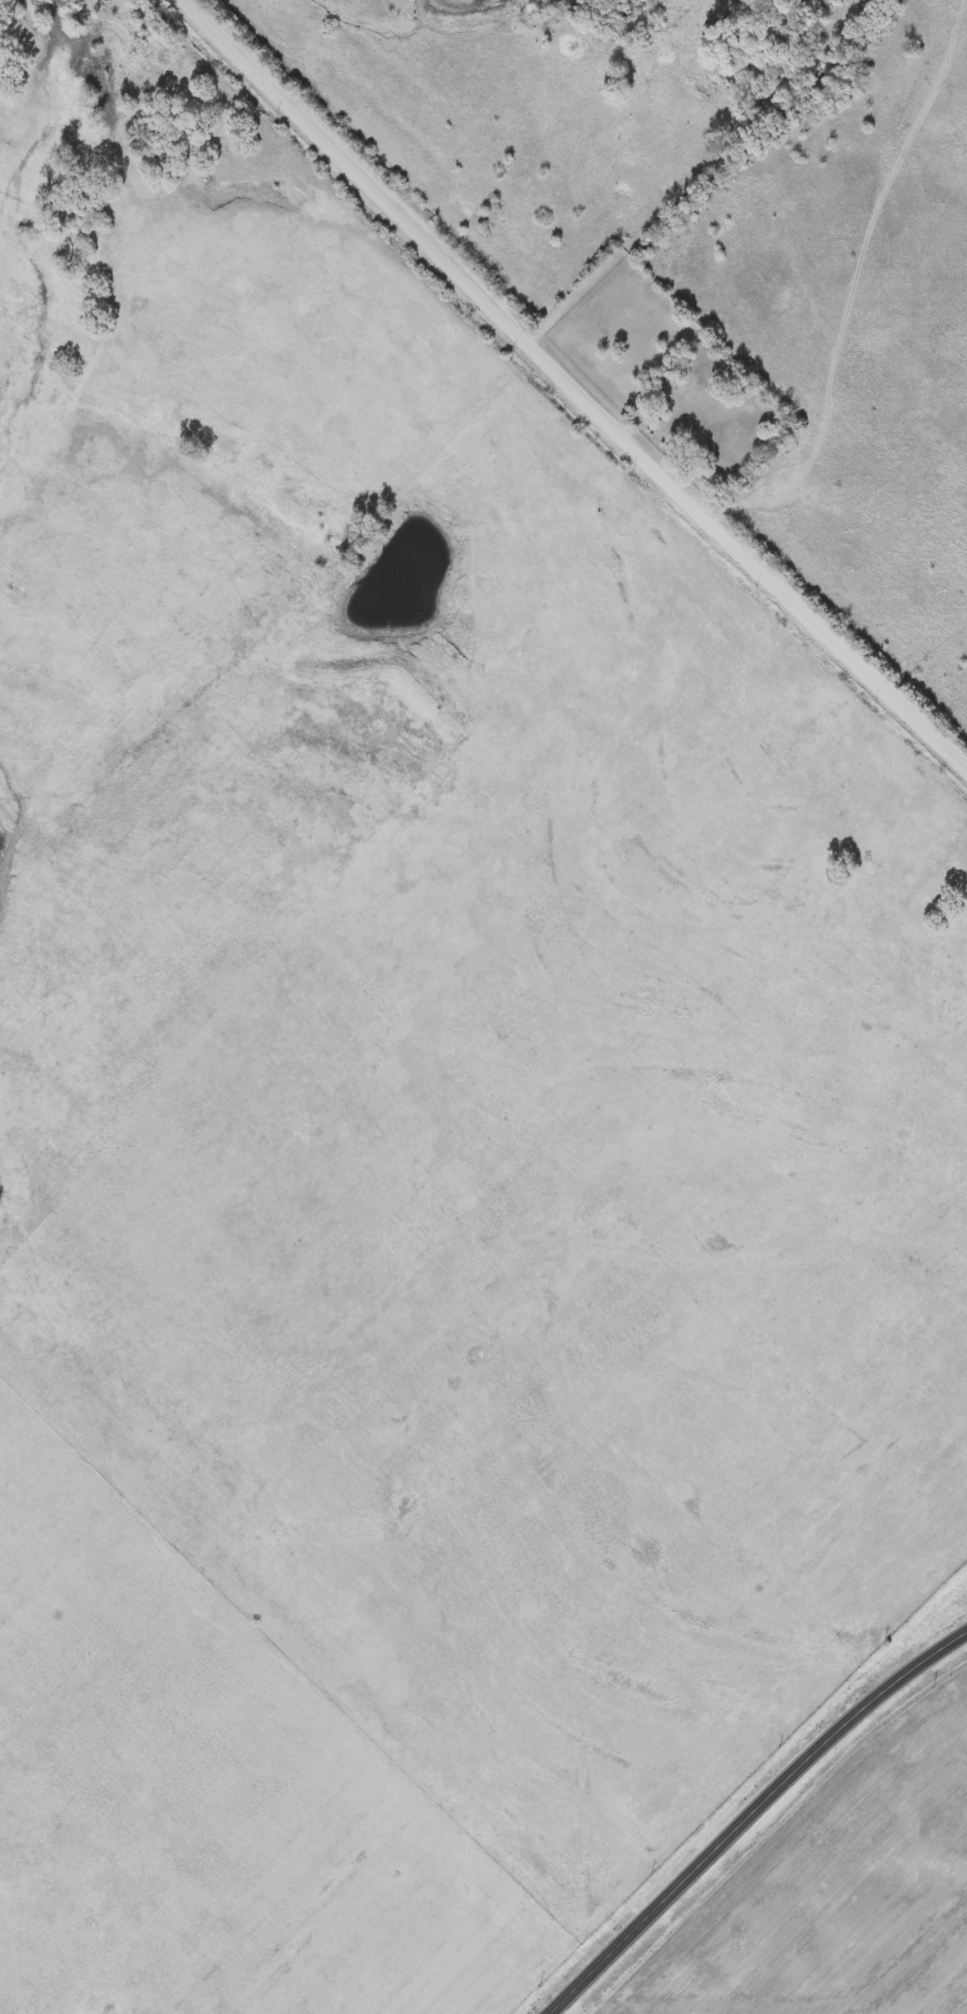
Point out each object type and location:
road: (563, 308)
park: (662, 379)
road: (572, 387)
road: (750, 1813)

